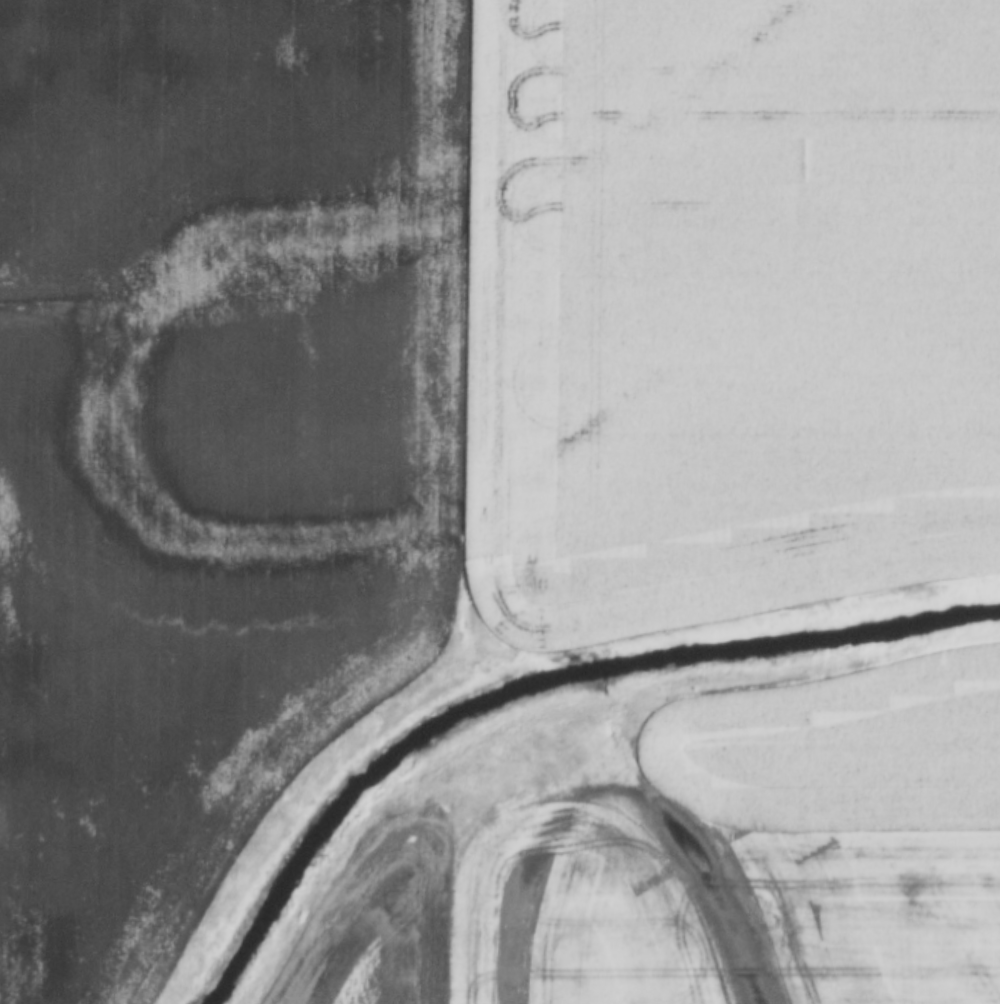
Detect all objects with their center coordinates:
crop: (444, 378)
crop: (705, 868)

